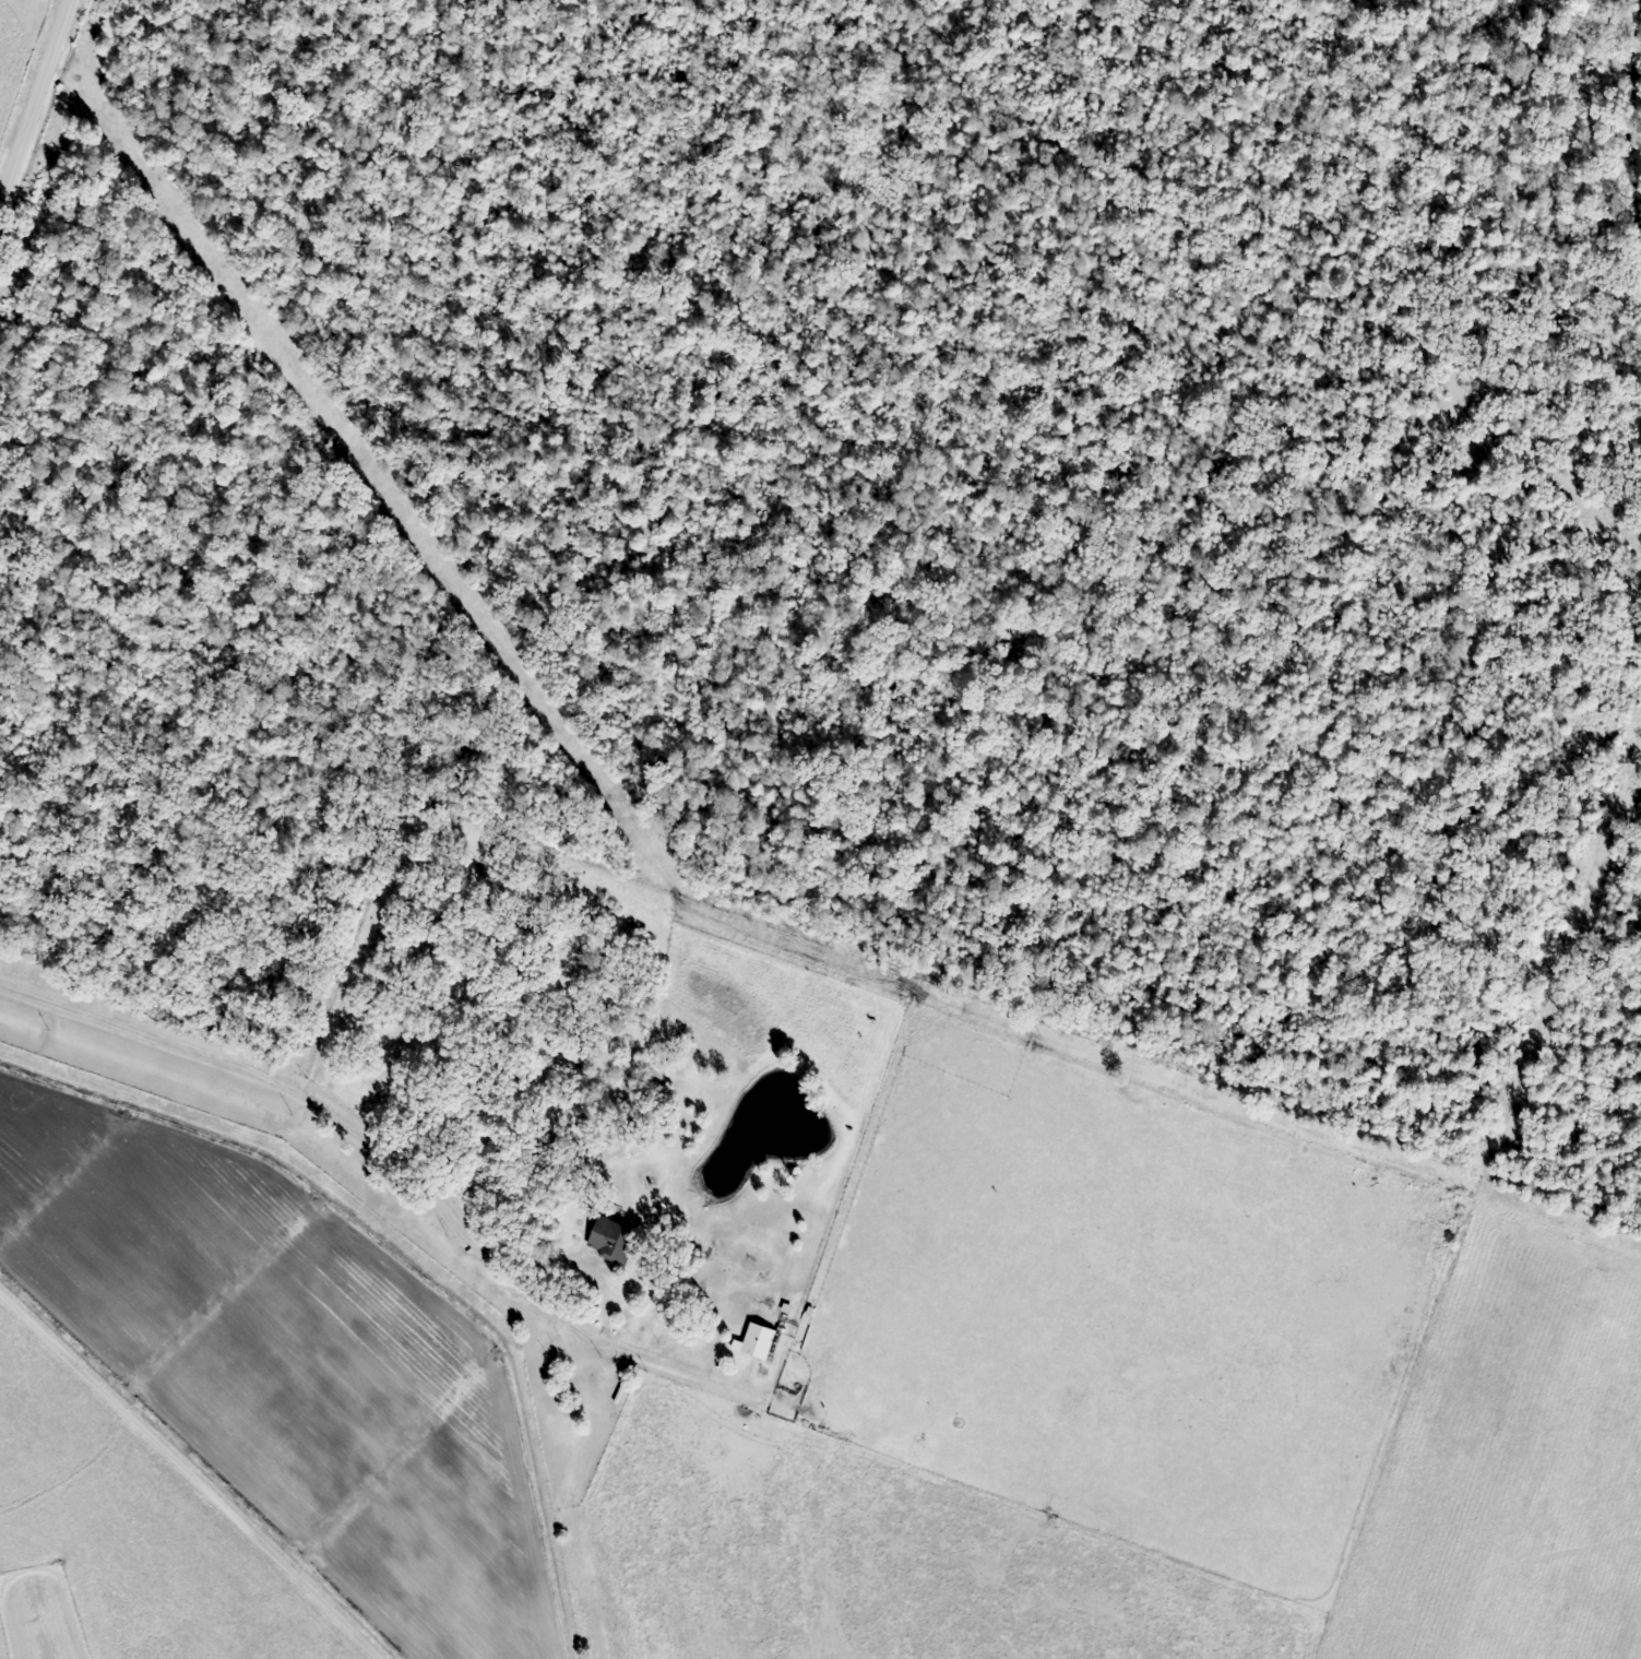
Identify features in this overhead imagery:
road: (41, 120)
road: (390, 1159)
building: (611, 1240)
building: (757, 1343)
road: (189, 1476)
airport runway: (36, 1645)

